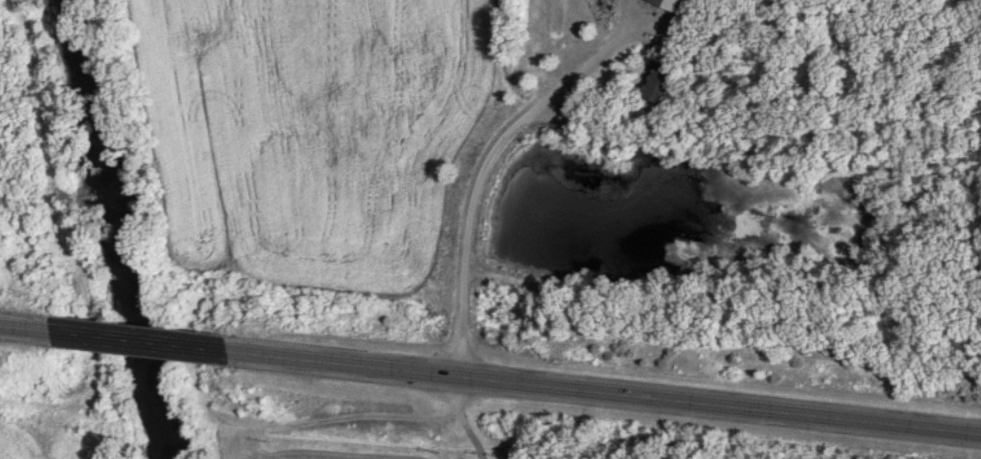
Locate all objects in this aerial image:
building: (672, 4)
building: (662, 82)
river: (116, 230)
road: (29, 339)
road: (150, 350)
road: (612, 386)

